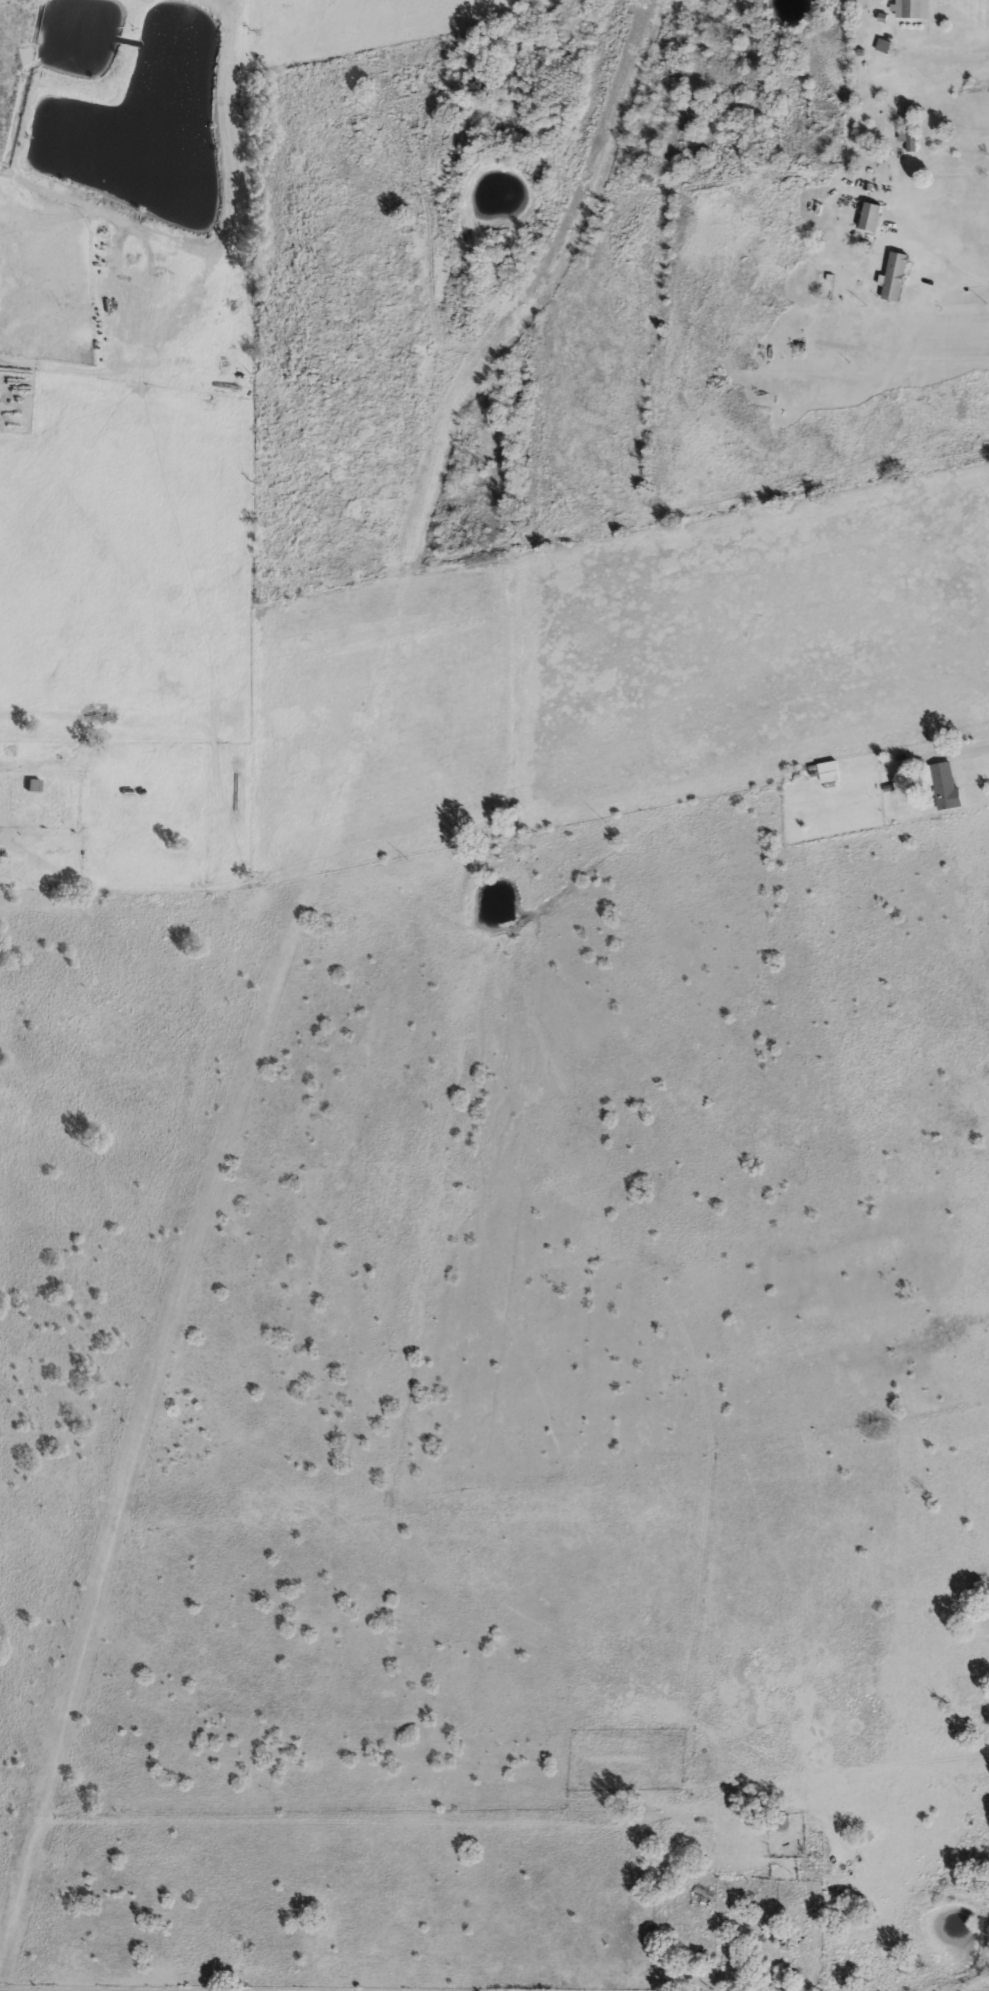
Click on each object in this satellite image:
building: (912, 9)
building: (882, 45)
road: (950, 57)
building: (910, 129)
building: (869, 216)
building: (893, 276)
building: (827, 772)
building: (941, 784)
building: (30, 785)
building: (775, 1822)
building: (697, 1898)
road: (48, 1990)
road: (78, 1990)

